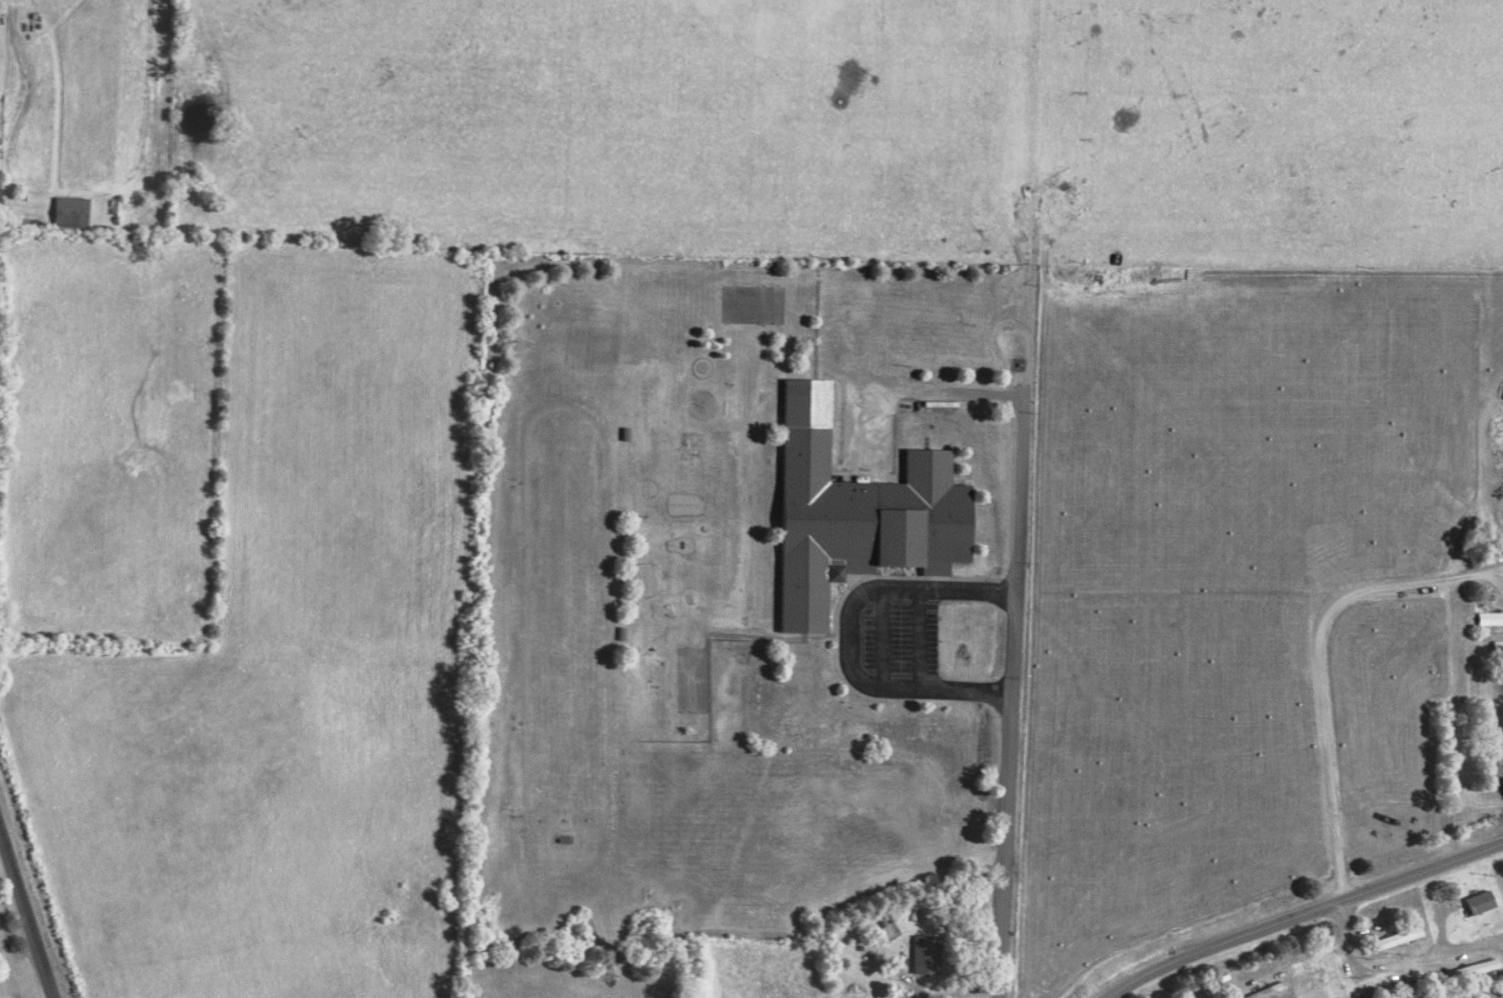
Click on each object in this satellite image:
building: (73, 212)
road: (1496, 263)
road: (912, 393)
road: (1010, 498)
building: (859, 512)
road: (1502, 576)
building: (1491, 618)
road: (845, 634)
building: (1499, 645)
road: (1318, 665)
building: (1483, 901)
road: (28, 908)
road: (1305, 916)
road: (1344, 922)
building: (1402, 936)
road: (1362, 962)
building: (1480, 967)
park: (1472, 994)
building: (899, 997)

